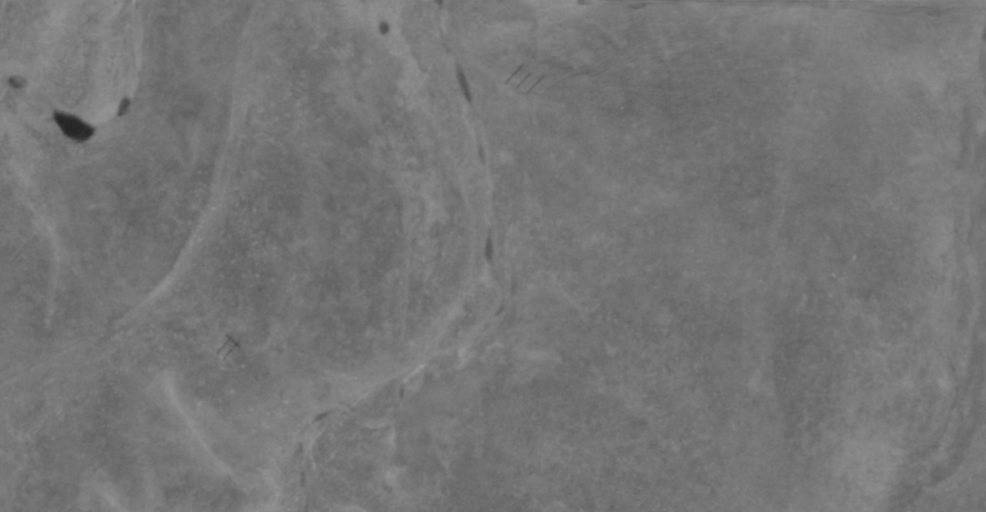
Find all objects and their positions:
power tower: (519, 89)
road: (197, 237)
power tower: (215, 356)

